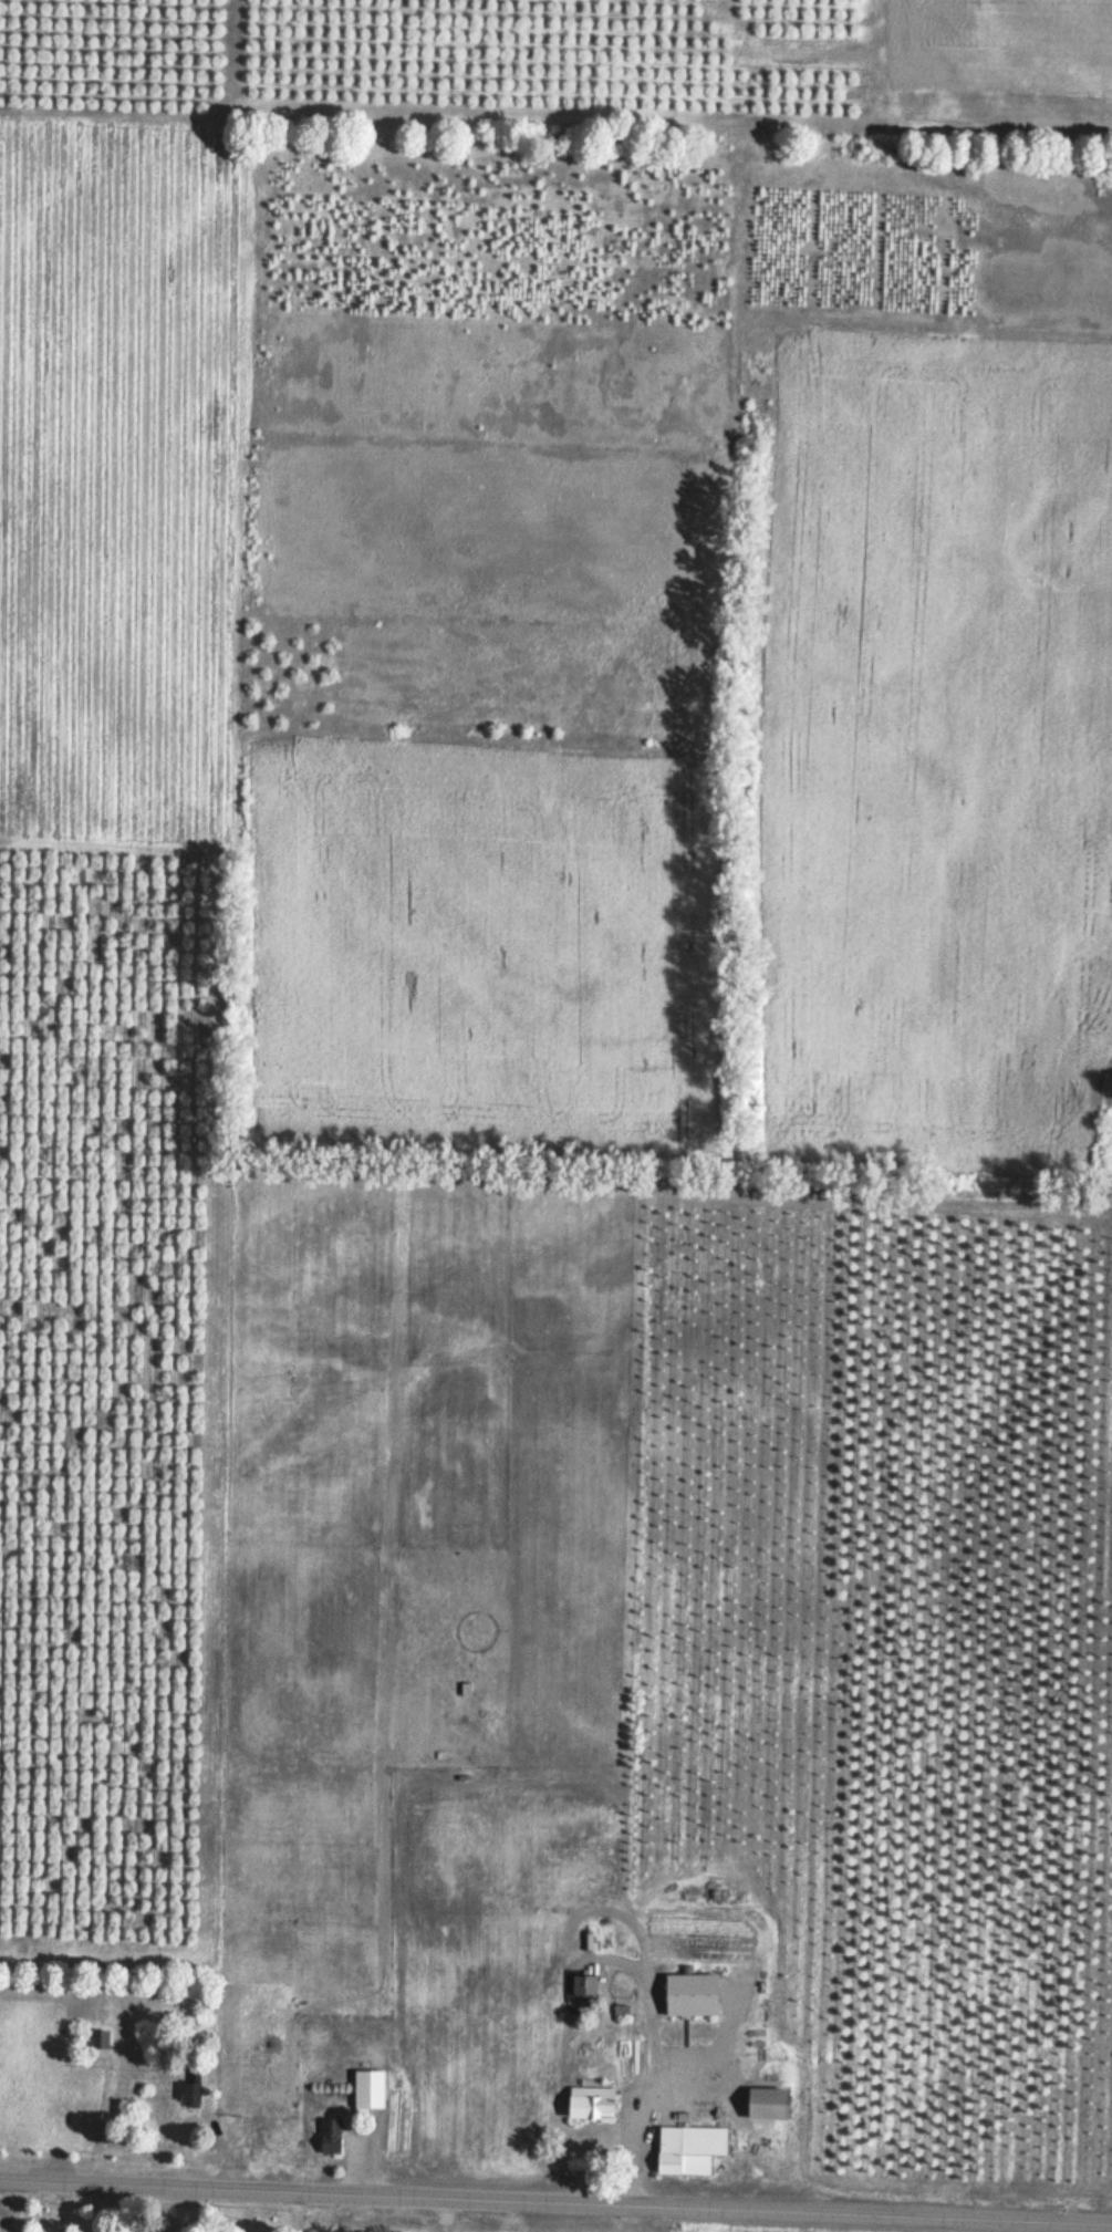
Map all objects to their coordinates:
building: (583, 1987)
building: (687, 1996)
building: (101, 2042)
building: (194, 2090)
building: (589, 2105)
building: (761, 2106)
building: (361, 2110)
building: (330, 2138)
building: (686, 2150)
road: (555, 2205)

